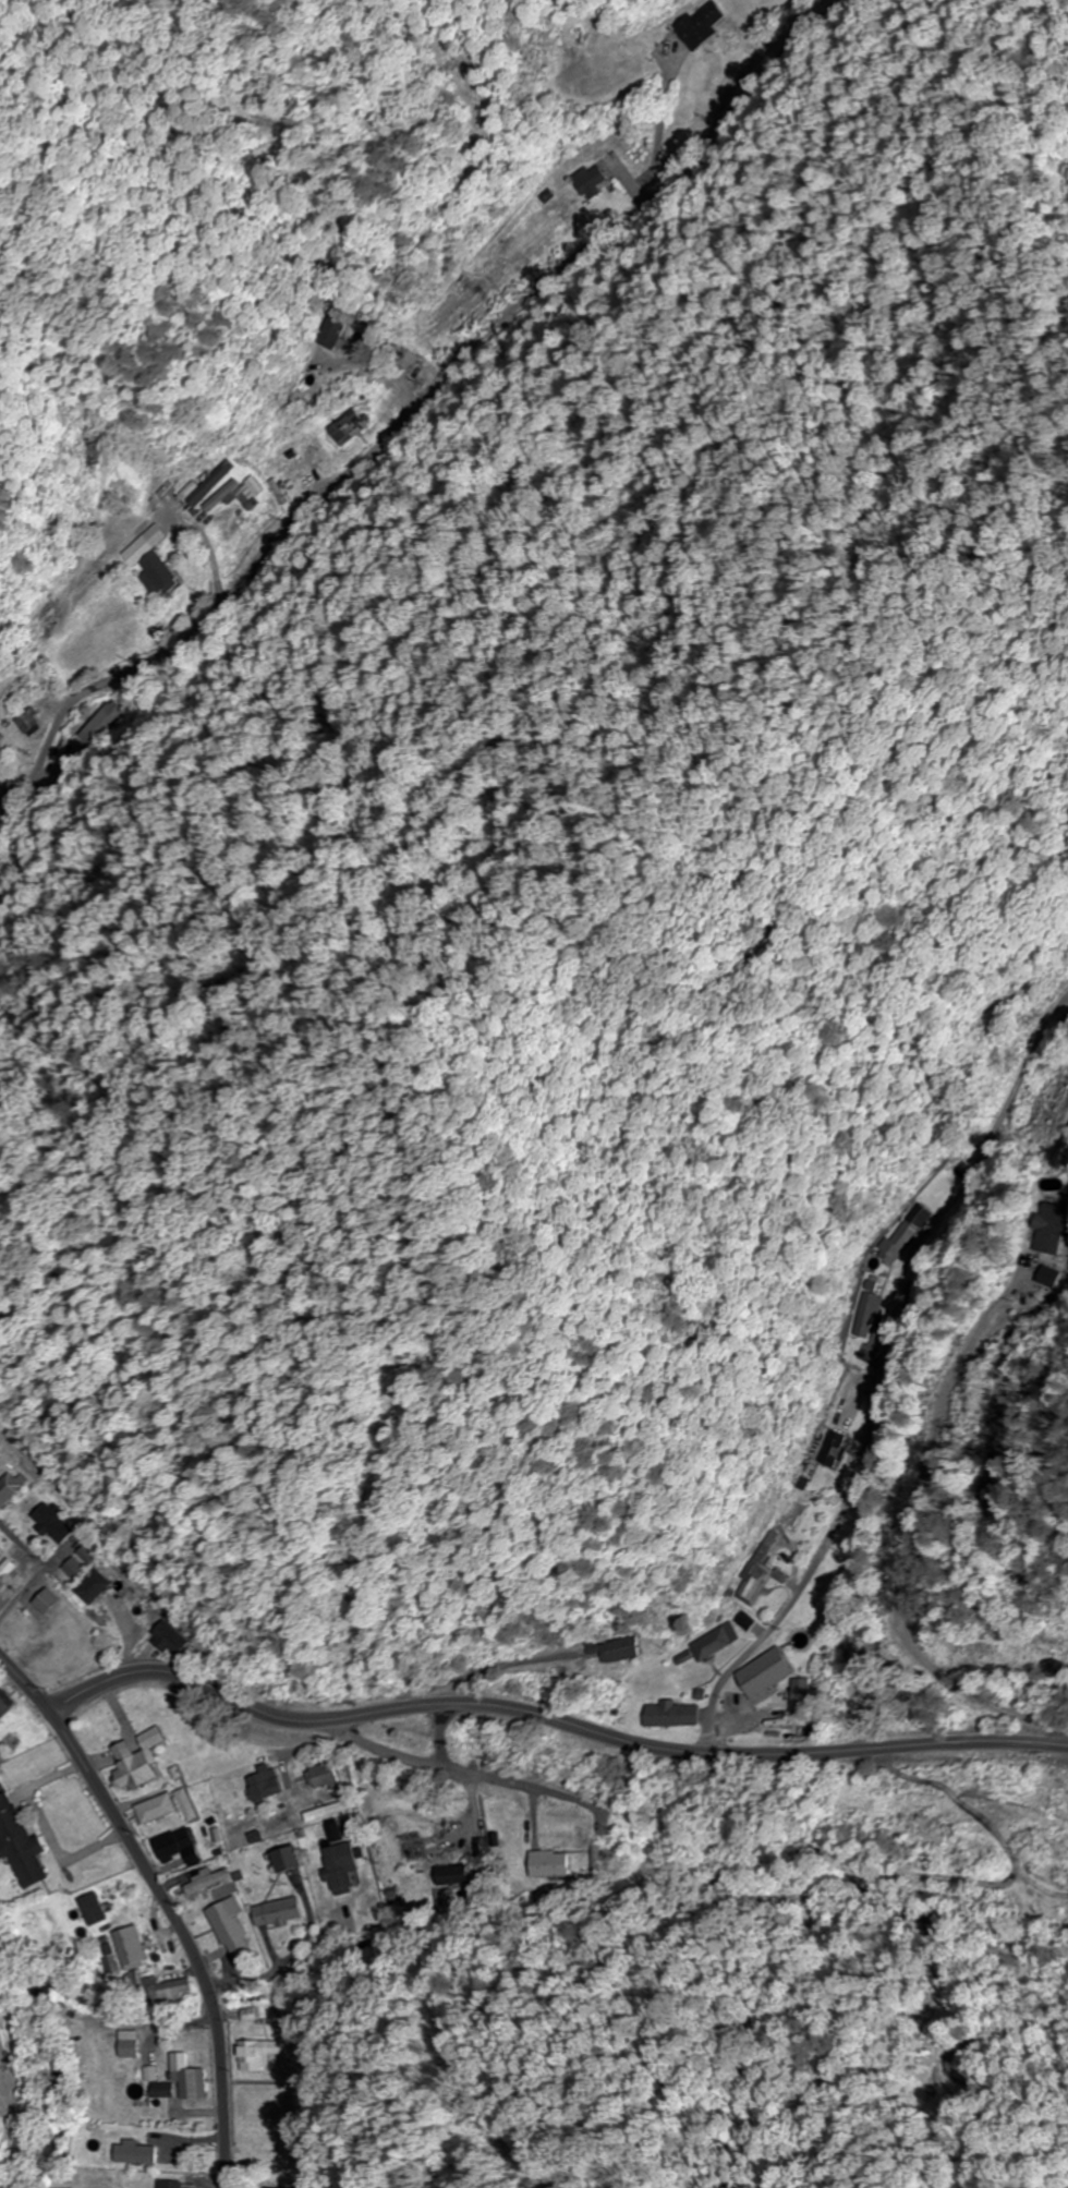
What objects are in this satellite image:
building: (702, 25)
building: (587, 180)
building: (336, 333)
road: (410, 411)
building: (350, 426)
building: (288, 449)
building: (90, 451)
building: (211, 482)
building: (222, 497)
building: (160, 573)
building: (98, 722)
building: (0, 742)
building: (1053, 1230)
building: (890, 1241)
building: (862, 1315)
building: (824, 1450)
road: (852, 1477)
building: (15, 1489)
building: (60, 1523)
road: (24, 1544)
building: (1, 1548)
building: (80, 1568)
building: (747, 1574)
building: (11, 1575)
road: (37, 1581)
building: (101, 1586)
building: (53, 1601)
building: (804, 1615)
building: (737, 1621)
road: (131, 1633)
building: (170, 1634)
building: (707, 1642)
building: (609, 1651)
building: (757, 1675)
building: (798, 1697)
building: (8, 1708)
road: (518, 1710)
building: (668, 1716)
building: (146, 1761)
road: (475, 1774)
building: (330, 1777)
building: (272, 1786)
building: (193, 1804)
building: (163, 1809)
building: (335, 1810)
road: (541, 1817)
building: (342, 1833)
building: (23, 1842)
building: (185, 1846)
building: (421, 1846)
building: (300, 1859)
building: (557, 1864)
building: (347, 1870)
building: (456, 1876)
building: (213, 1882)
building: (100, 1909)
building: (287, 1911)
building: (236, 1925)
road: (184, 1930)
building: (136, 1947)
building: (172, 1988)
building: (135, 2044)
building: (262, 2054)
building: (194, 2077)
building: (167, 2089)
building: (139, 2153)
building: (180, 2184)
building: (277, 2187)

